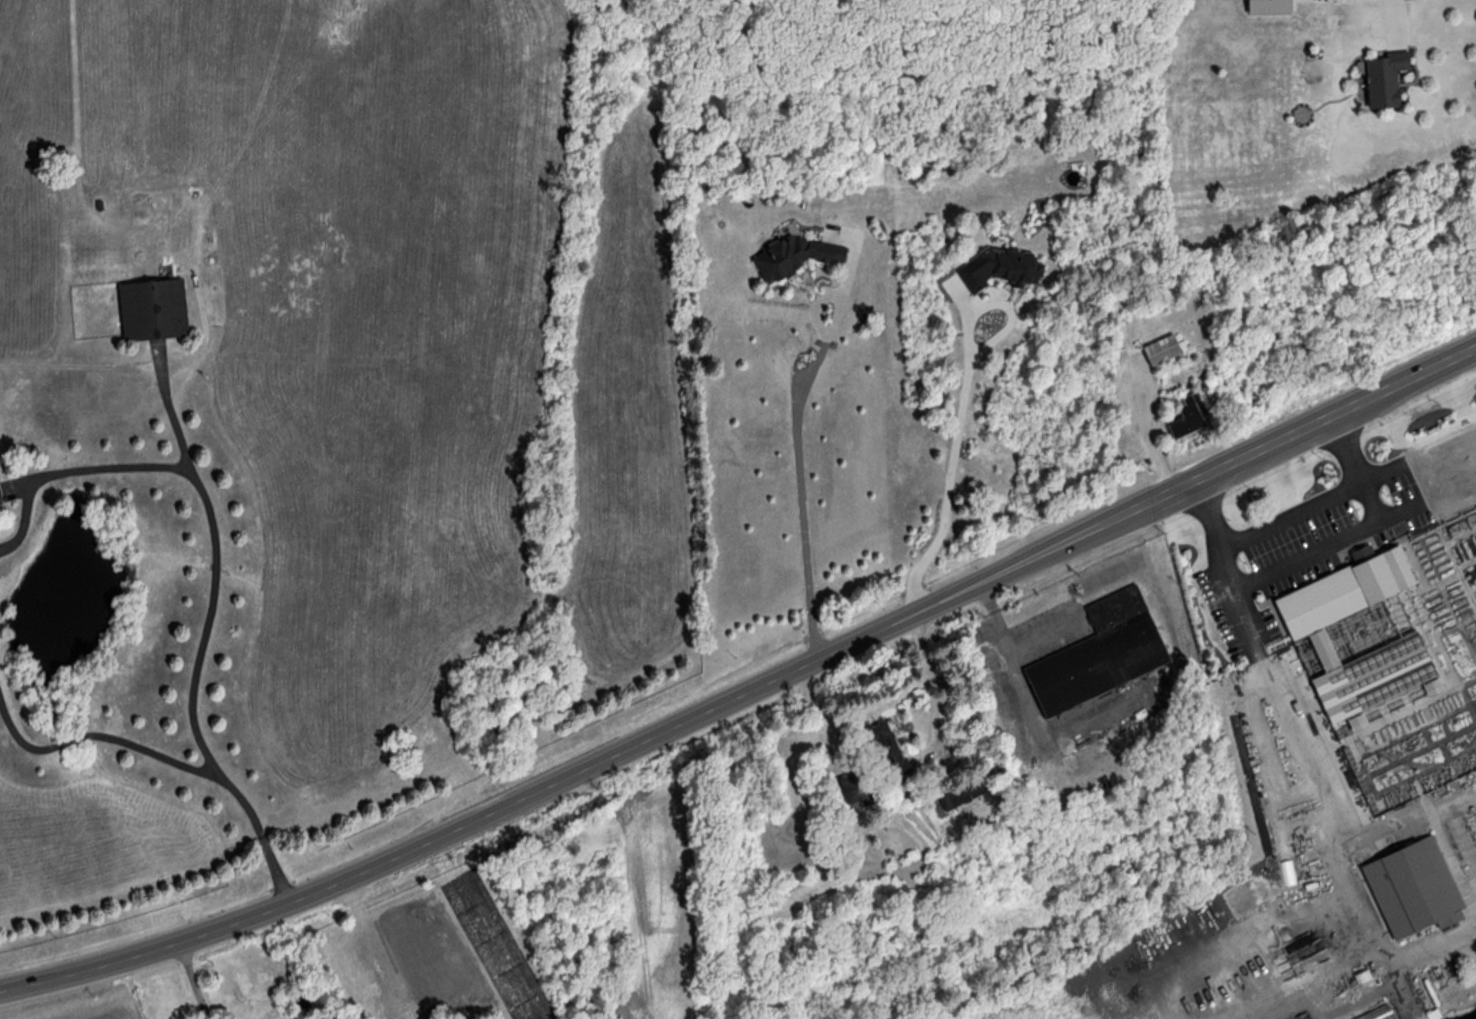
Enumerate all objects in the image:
road: (1401, 17)
building: (1382, 78)
building: (791, 255)
building: (151, 309)
building: (1162, 349)
road: (1403, 387)
building: (1186, 415)
road: (965, 416)
road: (1144, 434)
road: (1244, 462)
road: (67, 470)
road: (801, 483)
building: (2, 496)
road: (1289, 516)
road: (1307, 556)
road: (213, 572)
building: (1356, 635)
road: (1045, 636)
building: (1098, 654)
road: (932, 687)
road: (1028, 701)
building: (884, 747)
road: (169, 761)
road: (586, 765)
road: (1321, 781)
building: (963, 791)
building: (1412, 888)
building: (1264, 948)
road: (1432, 952)
road: (194, 980)
building: (1210, 1002)
building: (1357, 1018)
building: (1390, 1018)

